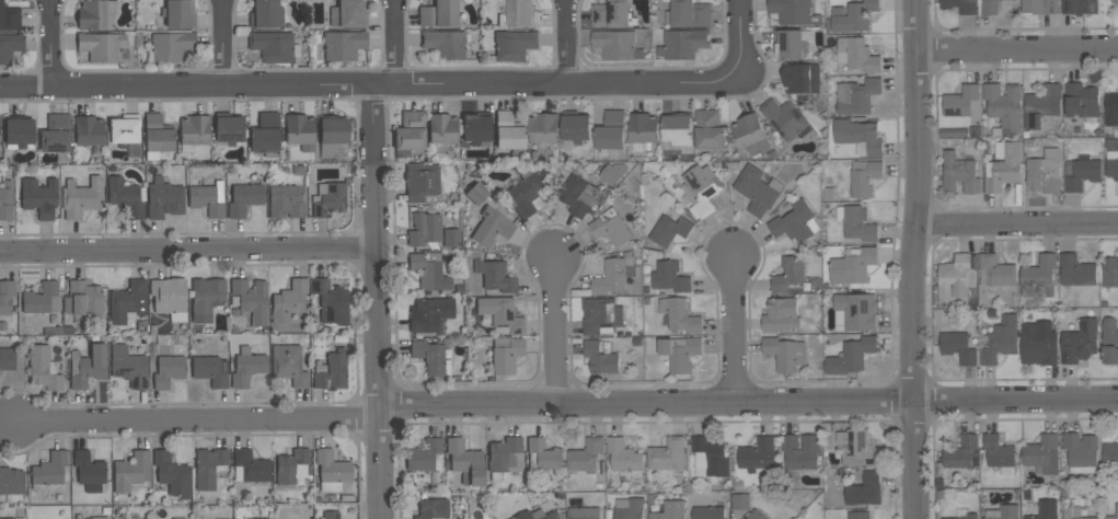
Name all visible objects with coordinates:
building: (1115, 1)
building: (960, 5)
building: (1039, 5)
building: (990, 7)
building: (1080, 7)
building: (794, 11)
building: (517, 13)
building: (689, 13)
building: (95, 14)
building: (177, 14)
building: (265, 14)
building: (348, 14)
building: (438, 14)
building: (612, 14)
building: (855, 16)
building: (9, 19)
road: (738, 42)
building: (792, 42)
road: (566, 43)
building: (682, 43)
road: (224, 44)
road: (394, 44)
building: (443, 44)
building: (616, 44)
road: (49, 45)
building: (343, 45)
building: (514, 45)
building: (10, 47)
building: (101, 47)
building: (169, 47)
building: (273, 47)
road: (1017, 50)
building: (856, 55)
building: (800, 77)
road: (369, 86)
building: (857, 95)
building: (1082, 101)
building: (963, 102)
building: (1041, 105)
building: (1004, 107)
building: (1111, 108)
building: (784, 117)
building: (543, 127)
building: (576, 127)
building: (643, 127)
building: (441, 128)
building: (476, 129)
building: (678, 129)
building: (710, 129)
building: (229, 130)
building: (611, 130)
building: (88, 131)
building: (300, 131)
building: (508, 131)
building: (193, 132)
building: (265, 132)
building: (19, 134)
building: (55, 134)
building: (408, 134)
building: (750, 134)
building: (125, 135)
building: (155, 136)
building: (332, 136)
building: (858, 136)
building: (1113, 163)
building: (1003, 166)
building: (1045, 170)
building: (1081, 172)
building: (613, 173)
building: (959, 174)
building: (864, 177)
building: (420, 184)
building: (701, 189)
building: (757, 189)
building: (527, 191)
building: (475, 194)
building: (578, 195)
building: (38, 197)
building: (80, 197)
building: (124, 198)
building: (207, 199)
building: (243, 199)
building: (329, 199)
building: (5, 200)
building: (163, 200)
building: (285, 201)
building: (796, 222)
building: (856, 222)
road: (1016, 226)
building: (491, 228)
building: (424, 229)
building: (612, 229)
building: (670, 230)
building: (451, 238)
road: (187, 249)
road: (912, 258)
building: (852, 265)
building: (1076, 270)
building: (428, 272)
building: (995, 272)
building: (1110, 272)
building: (614, 274)
building: (789, 275)
building: (1039, 275)
building: (494, 276)
building: (670, 276)
building: (955, 279)
building: (5, 297)
building: (170, 298)
building: (42, 299)
building: (82, 299)
building: (206, 299)
building: (250, 300)
building: (289, 301)
building: (127, 302)
building: (331, 302)
road: (374, 302)
building: (855, 311)
building: (429, 314)
building: (679, 314)
building: (781, 314)
building: (500, 315)
building: (601, 315)
road: (734, 327)
road: (554, 331)
building: (1001, 341)
building: (1109, 341)
building: (1080, 342)
building: (1038, 343)
building: (958, 346)
building: (680, 354)
building: (785, 354)
building: (505, 355)
building: (851, 356)
building: (600, 357)
building: (430, 358)
building: (7, 359)
building: (288, 366)
building: (87, 367)
building: (128, 367)
building: (246, 367)
building: (43, 369)
building: (210, 370)
building: (168, 371)
building: (331, 371)
road: (564, 408)
building: (856, 448)
building: (802, 451)
building: (1081, 451)
building: (960, 452)
building: (1000, 453)
building: (1042, 453)
building: (1110, 453)
building: (586, 454)
building: (543, 455)
building: (669, 455)
building: (759, 455)
building: (425, 457)
building: (504, 457)
building: (625, 457)
building: (710, 457)
building: (464, 462)
building: (209, 466)
building: (250, 466)
building: (292, 468)
building: (50, 469)
building: (88, 471)
building: (130, 471)
building: (333, 473)
building: (172, 475)
building: (11, 482)
building: (864, 489)
building: (740, 501)
building: (629, 508)
building: (433, 509)
building: (1117, 509)
building: (670, 510)
building: (1046, 510)
building: (1003, 511)
building: (584, 512)
building: (708, 512)
building: (1074, 514)
building: (535, 515)
building: (756, 515)
building: (858, 515)
building: (331, 516)
building: (965, 517)
building: (7, 518)
building: (99, 518)
building: (177, 518)

